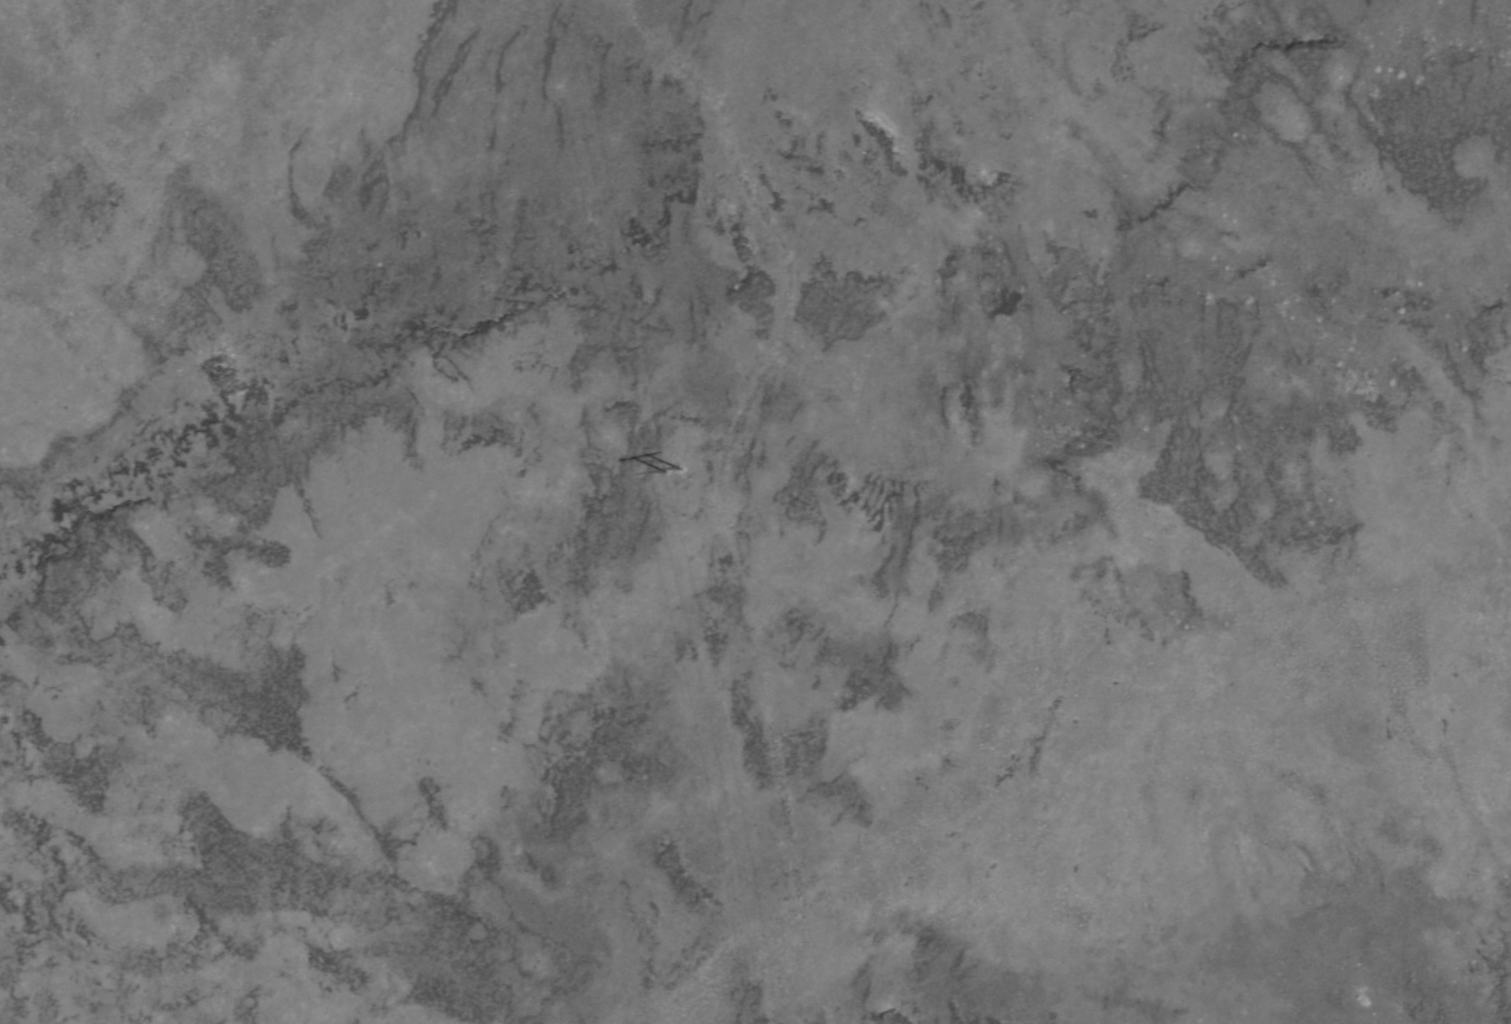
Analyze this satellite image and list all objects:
power tower: (673, 472)

